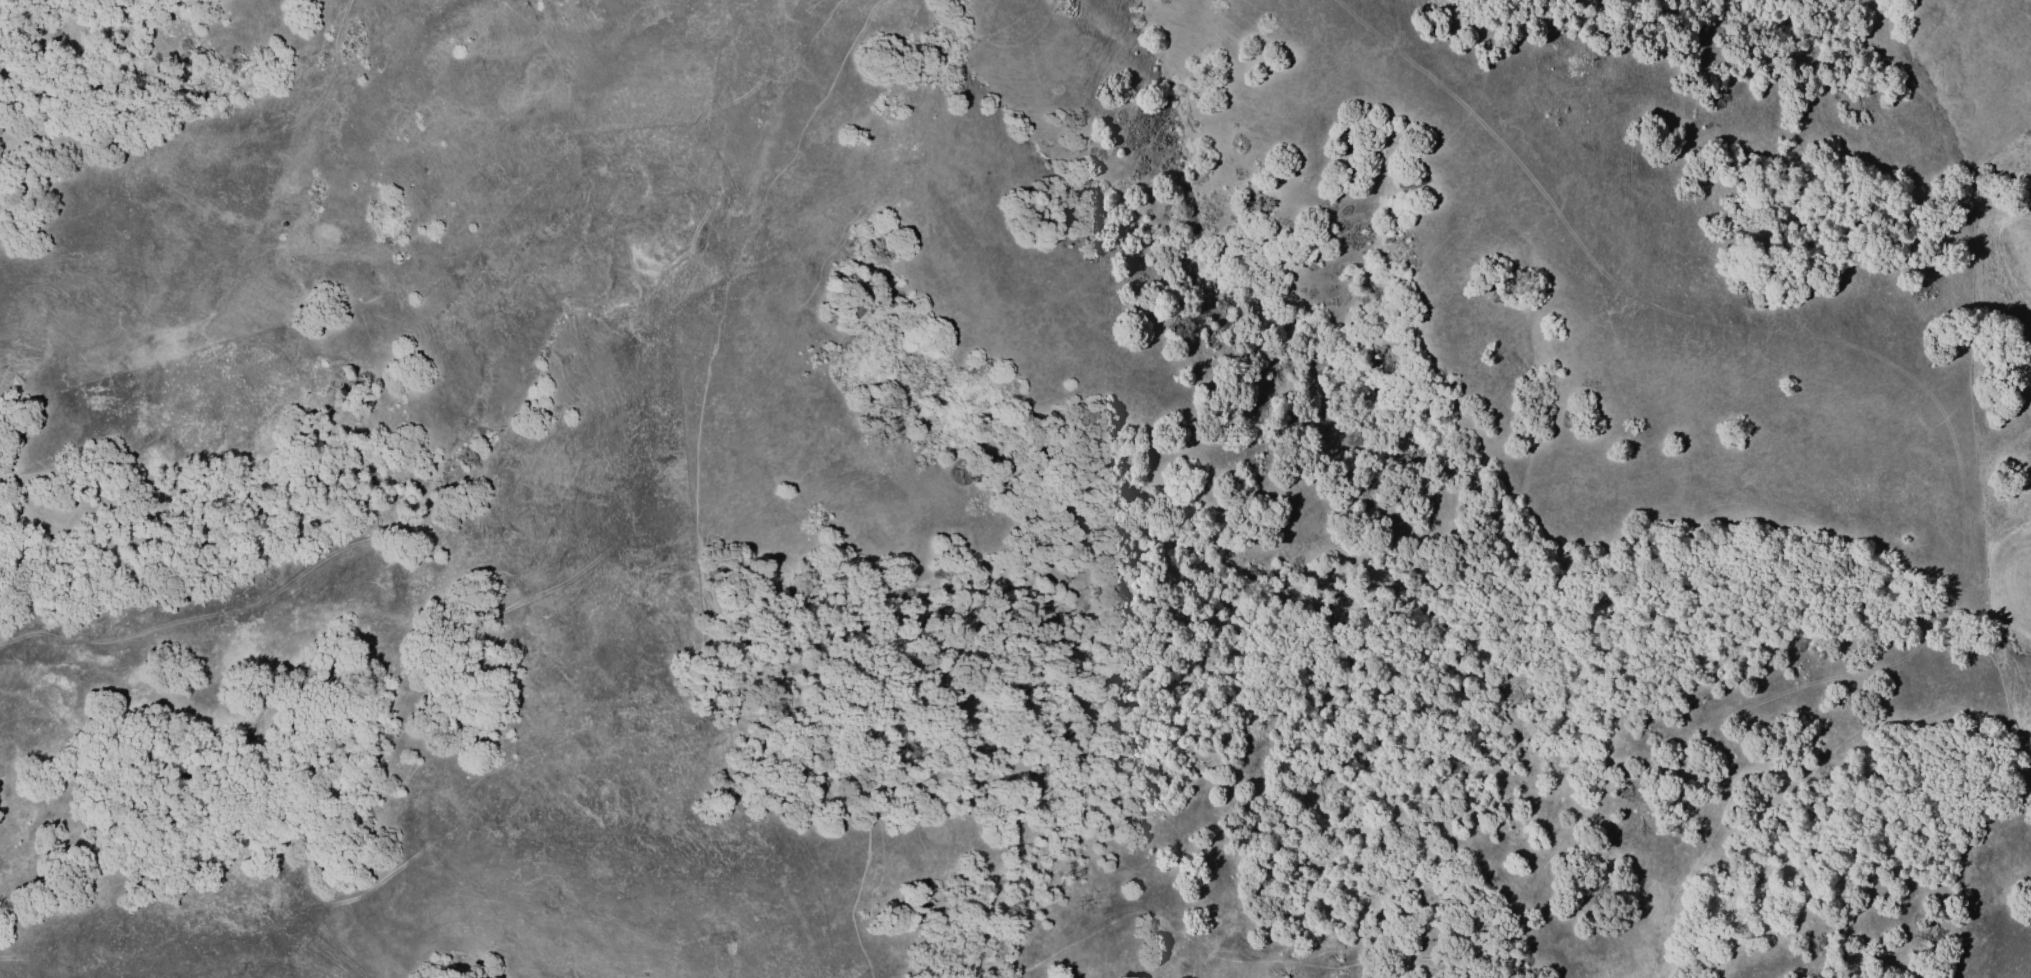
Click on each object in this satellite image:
crop: (1979, 446)

